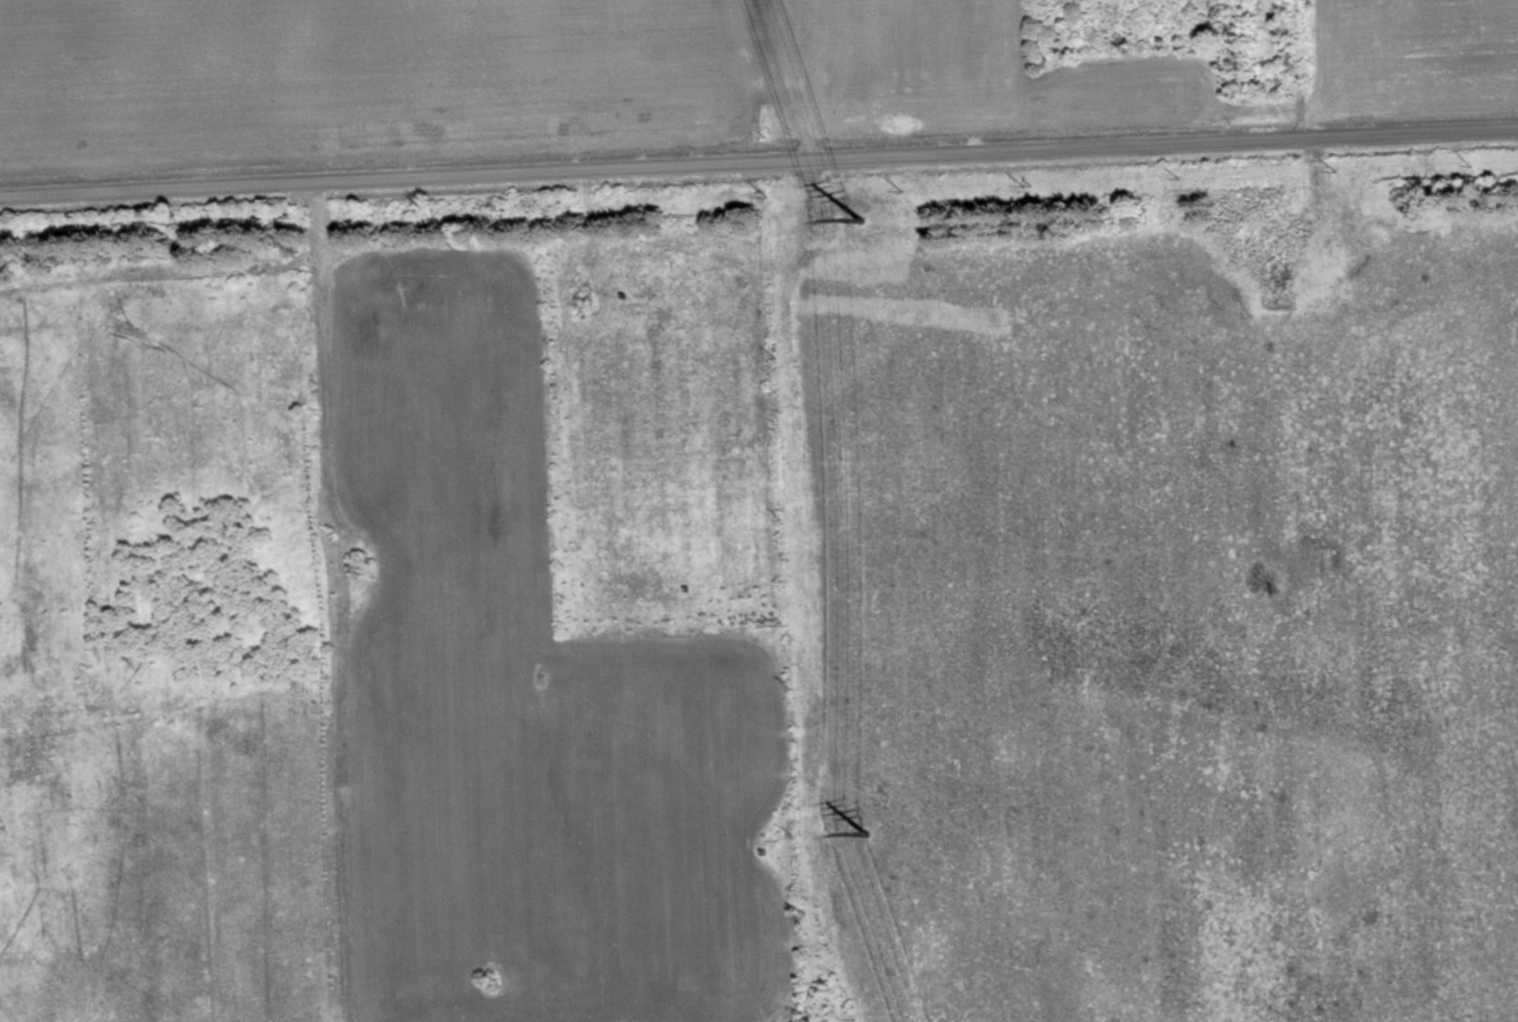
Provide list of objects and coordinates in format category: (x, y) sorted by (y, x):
road: (759, 164)
power tower: (861, 222)
power tower: (868, 836)

